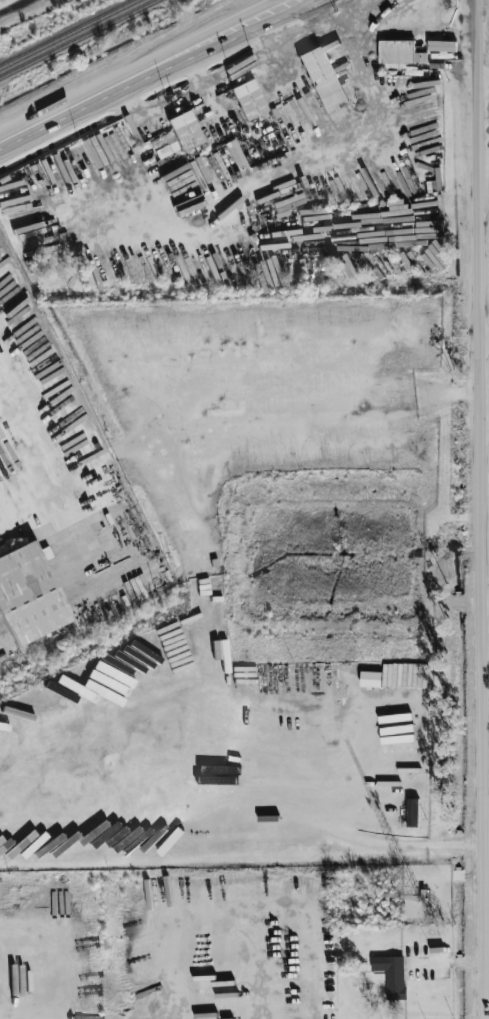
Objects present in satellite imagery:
road: (322, 24)
railway: (68, 33)
railway: (80, 39)
building: (397, 52)
road: (260, 61)
road: (202, 66)
road: (140, 70)
building: (322, 79)
road: (483, 79)
building: (248, 99)
road: (156, 115)
building: (186, 131)
building: (164, 145)
road: (485, 348)
road: (486, 420)
road: (59, 463)
road: (484, 509)
building: (29, 598)
road: (487, 607)
road: (487, 672)
building: (413, 813)
road: (405, 848)
building: (392, 975)
road: (488, 1000)

